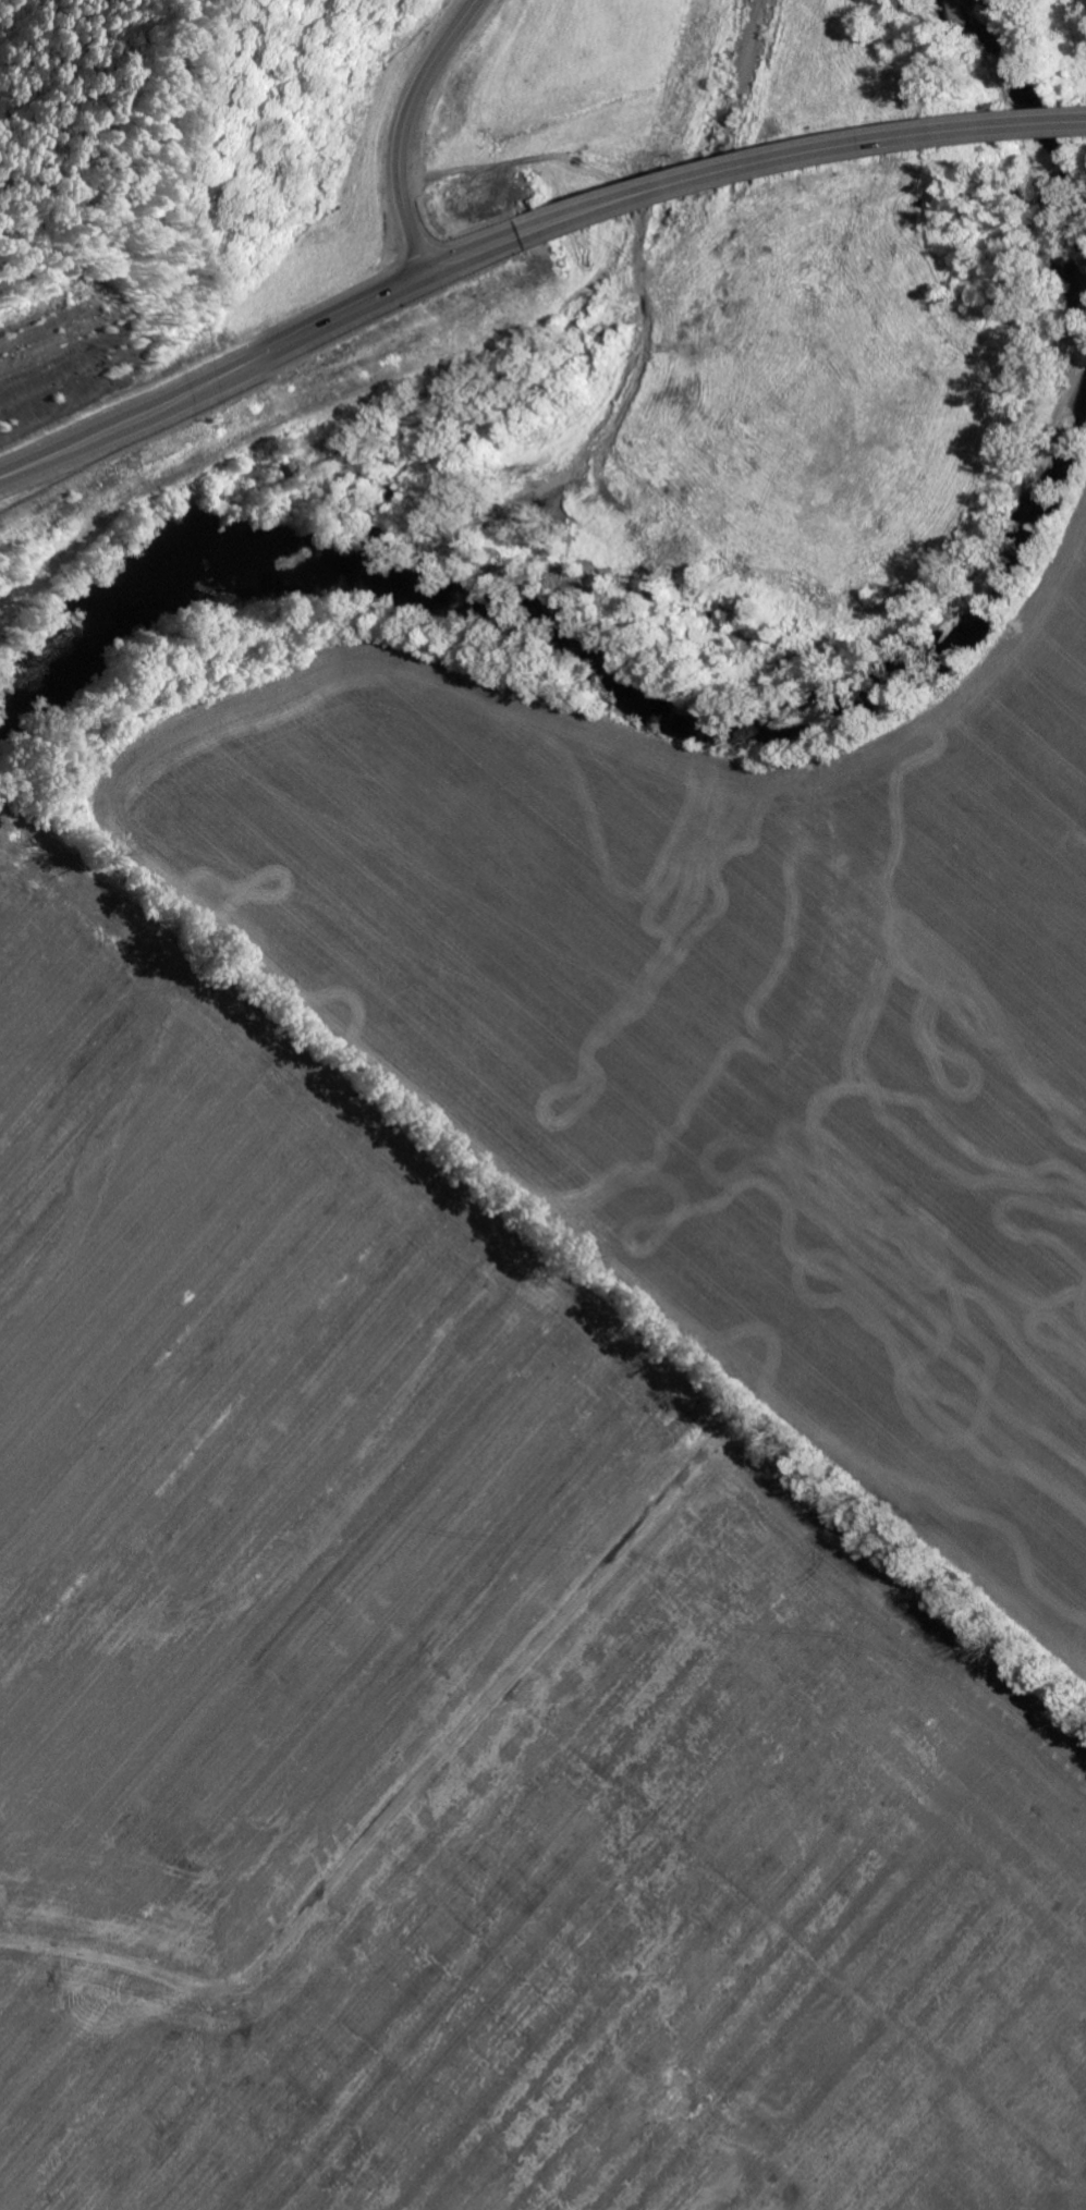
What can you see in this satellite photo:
road: (405, 129)
road: (801, 152)
road: (260, 358)
river: (774, 711)

